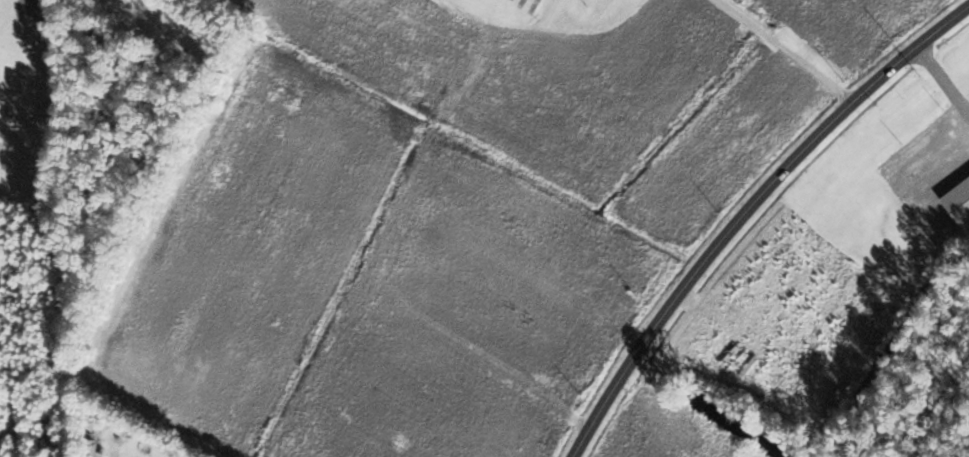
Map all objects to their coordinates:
road: (783, 50)
road: (748, 214)

